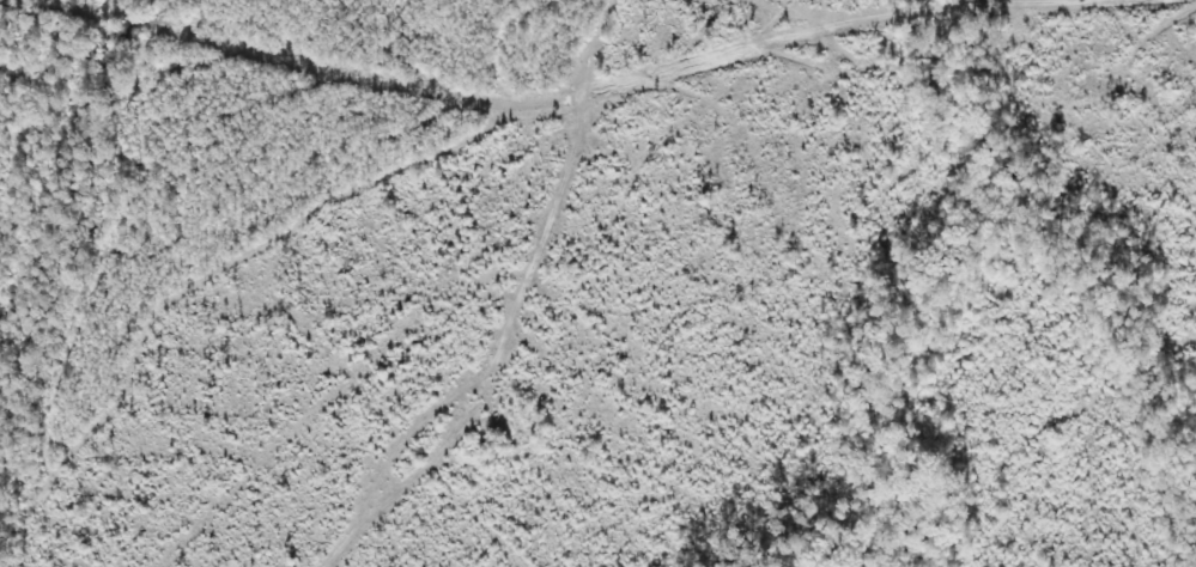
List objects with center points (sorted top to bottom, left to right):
road: (596, 94)

